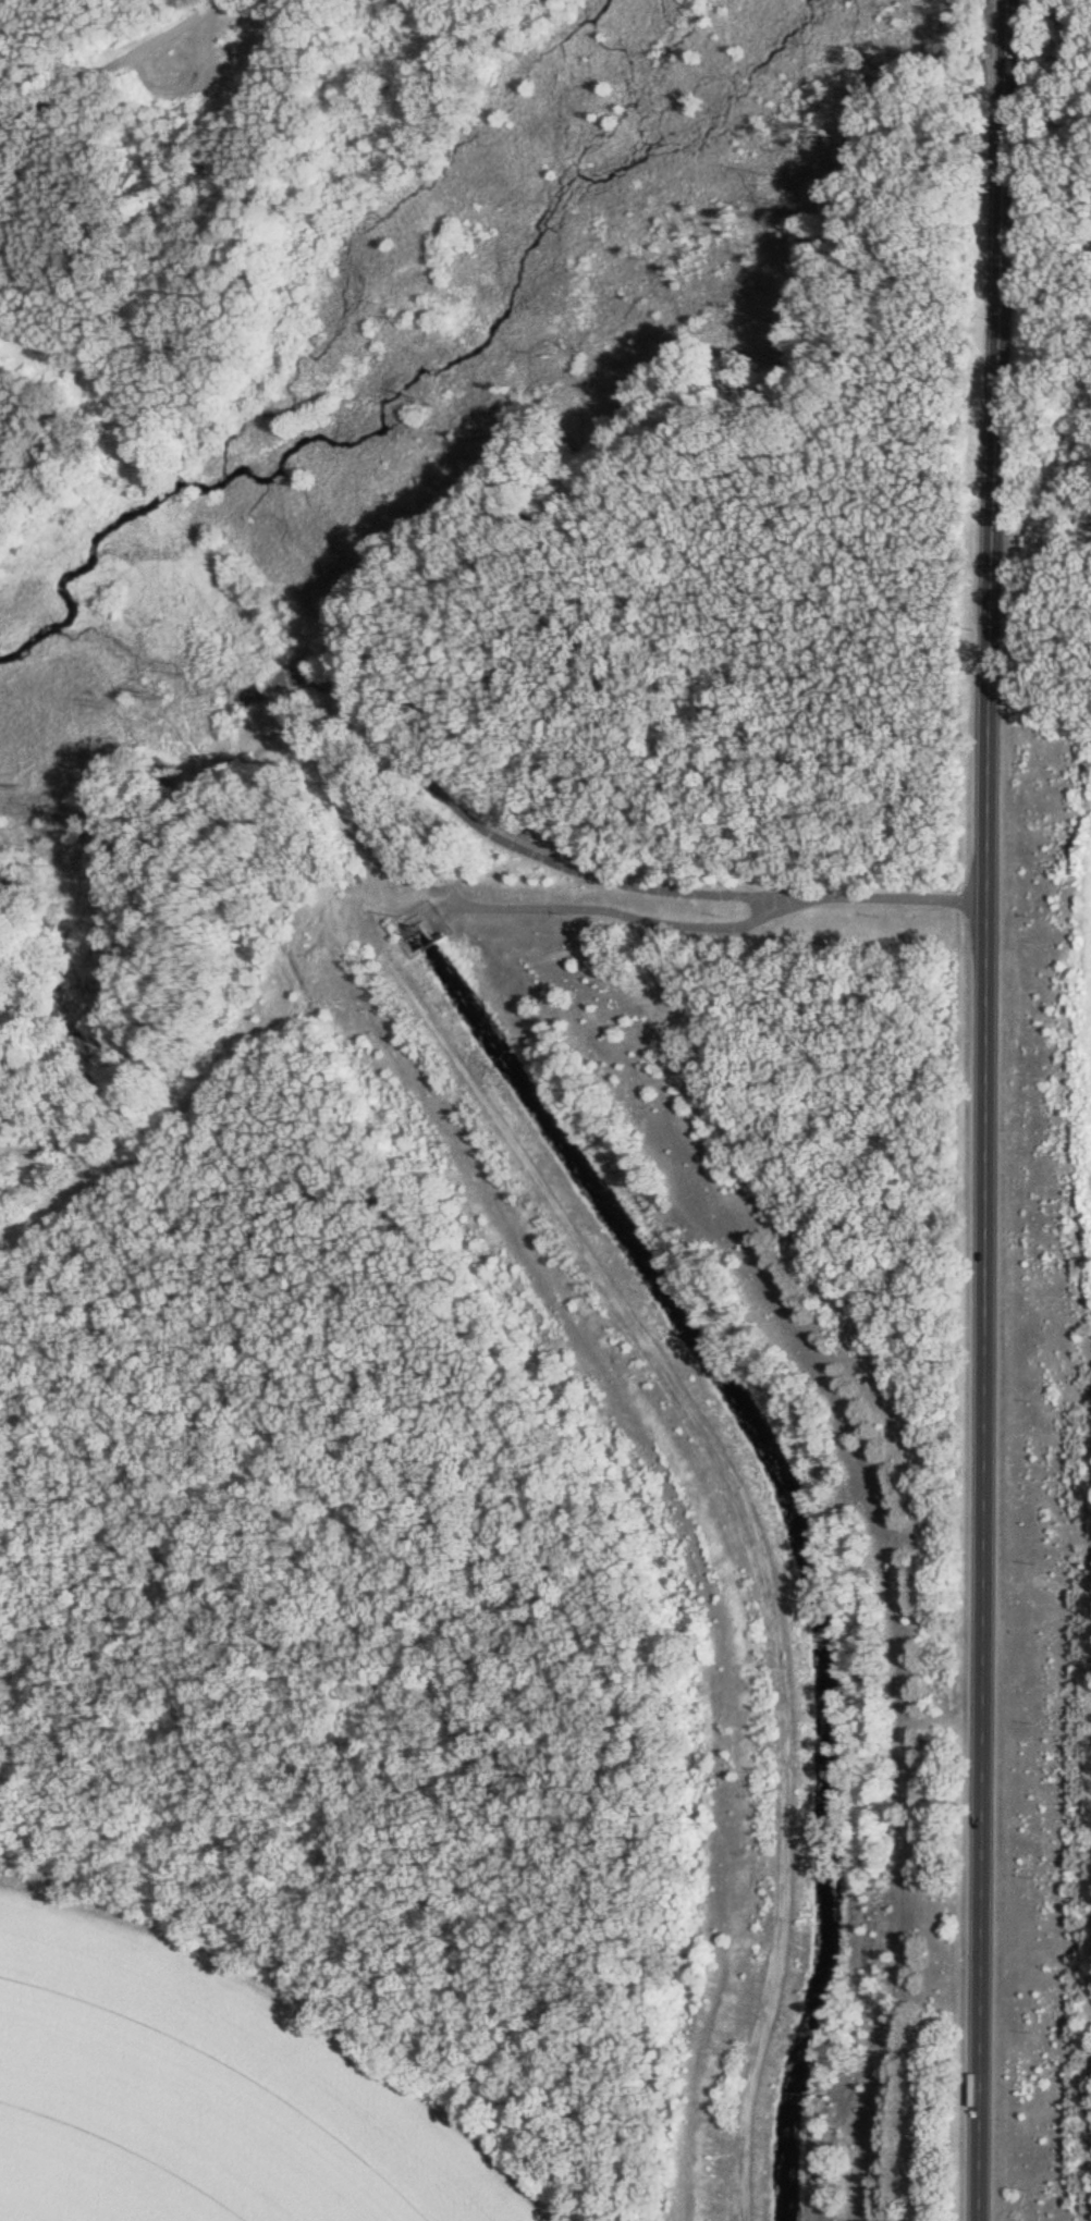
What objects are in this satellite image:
road: (91, 60)
building: (257, 697)
road: (507, 843)
road: (421, 897)
building: (418, 938)
road: (986, 1109)
wastewater plant: (1061, 1346)

